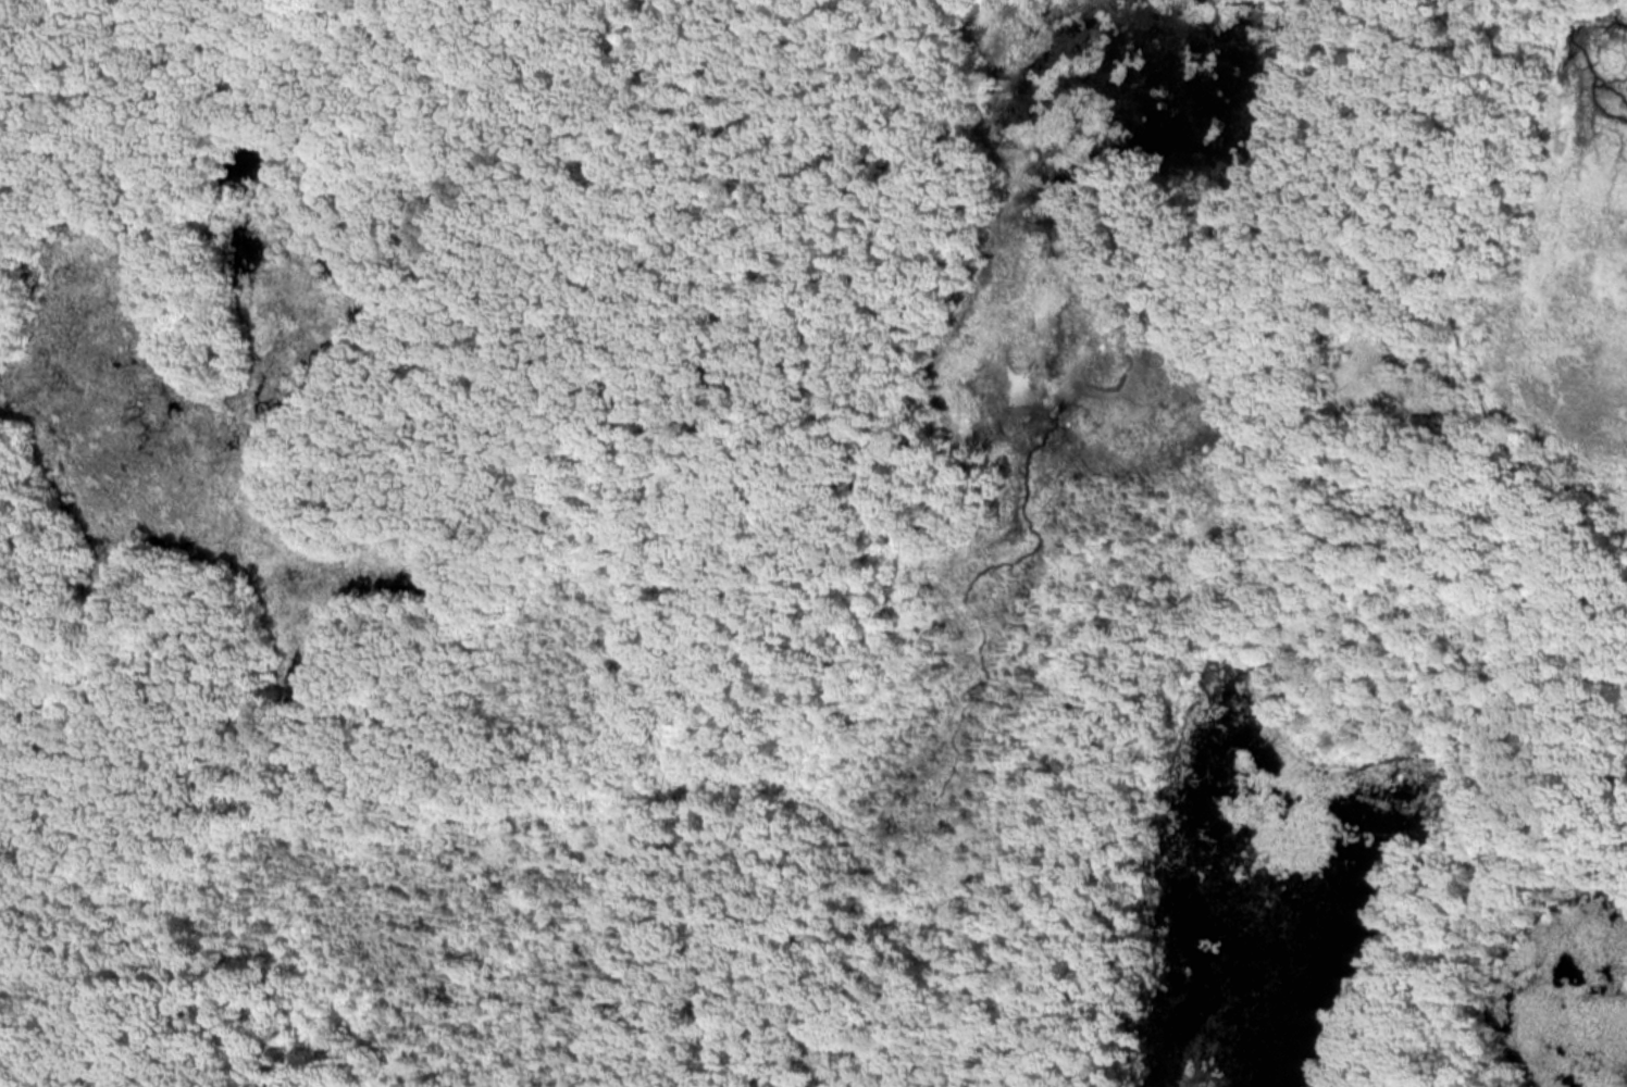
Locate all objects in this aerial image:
road: (1508, 151)
park: (813, 543)

